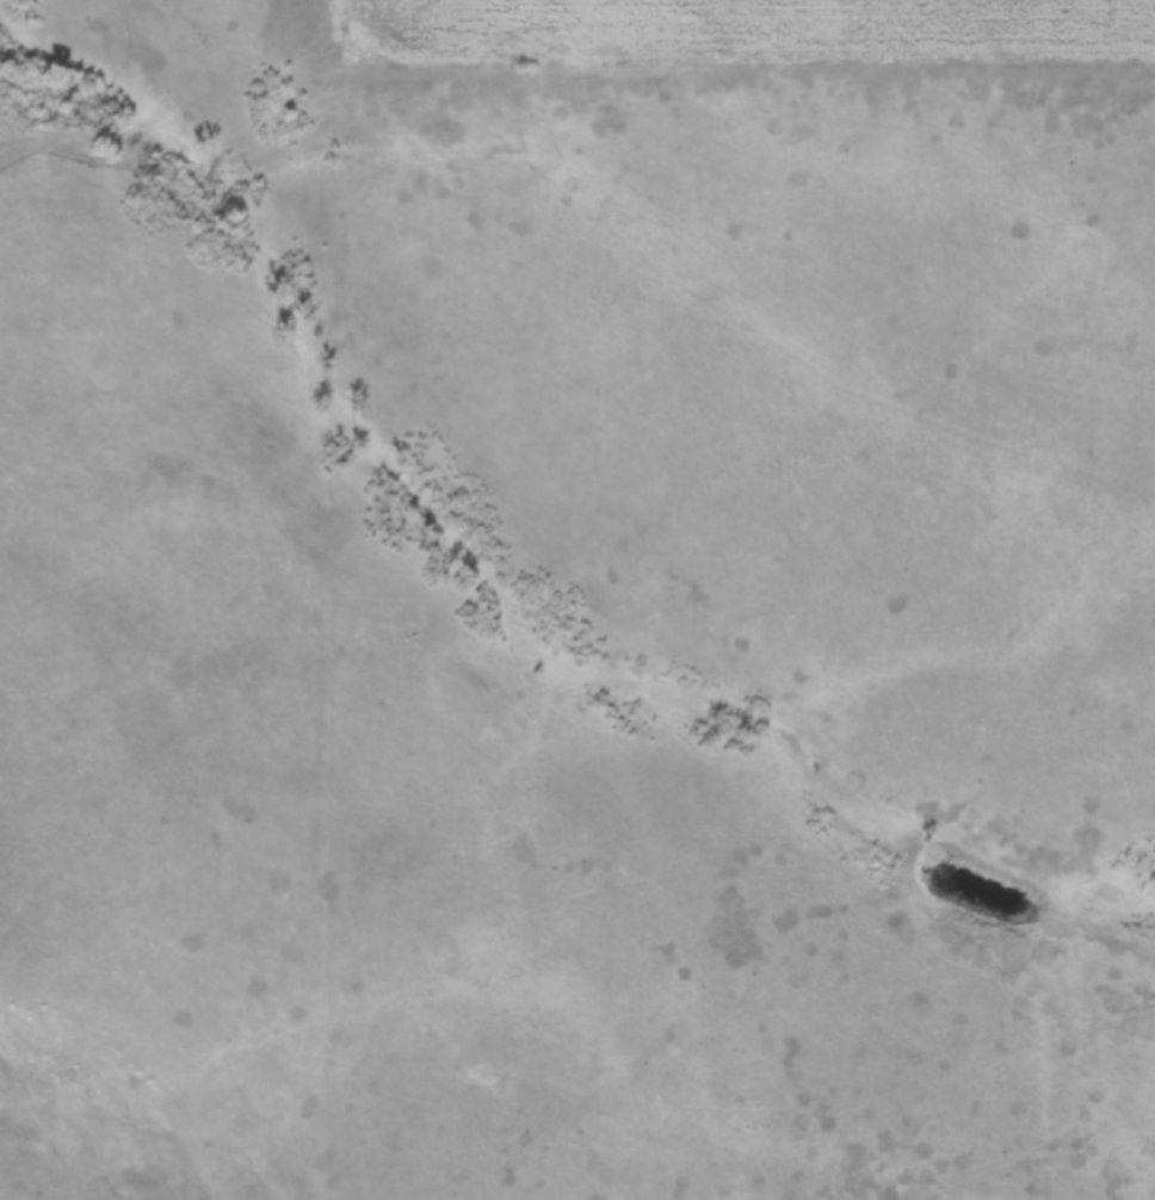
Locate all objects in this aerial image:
road: (533, 569)

